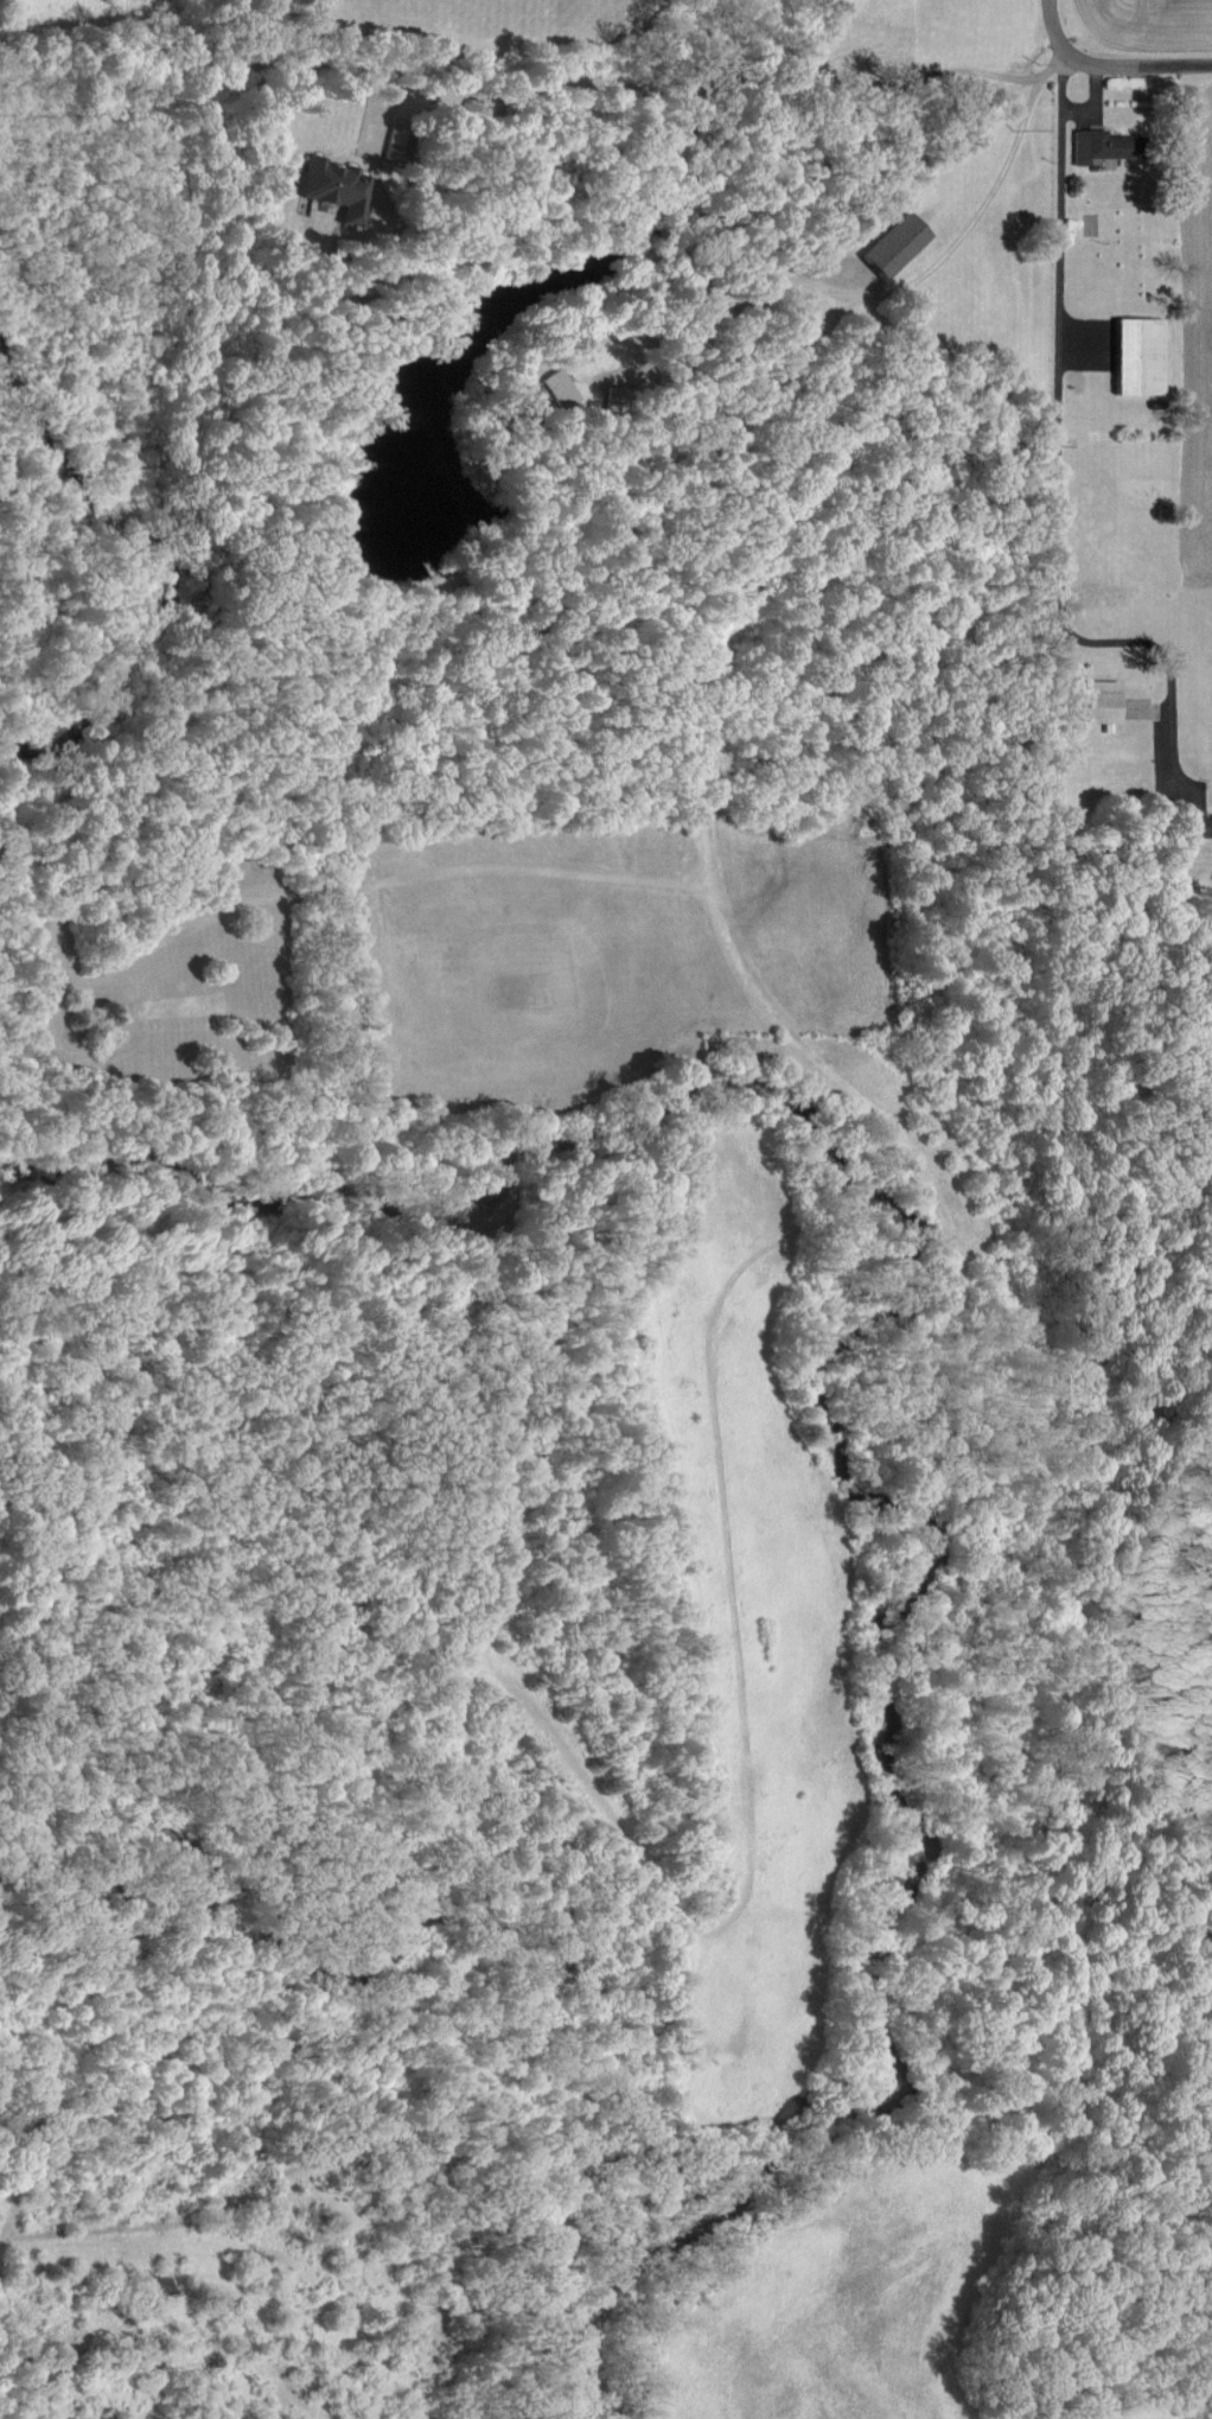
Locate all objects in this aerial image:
road: (1055, 28)
road: (1140, 64)
road: (690, 87)
building: (1101, 146)
building: (332, 189)
building: (893, 247)
road: (894, 291)
building: (1137, 357)
building: (557, 388)
road: (1063, 466)
building: (1099, 704)
building: (1193, 826)
building: (1211, 826)
road: (101, 2262)

